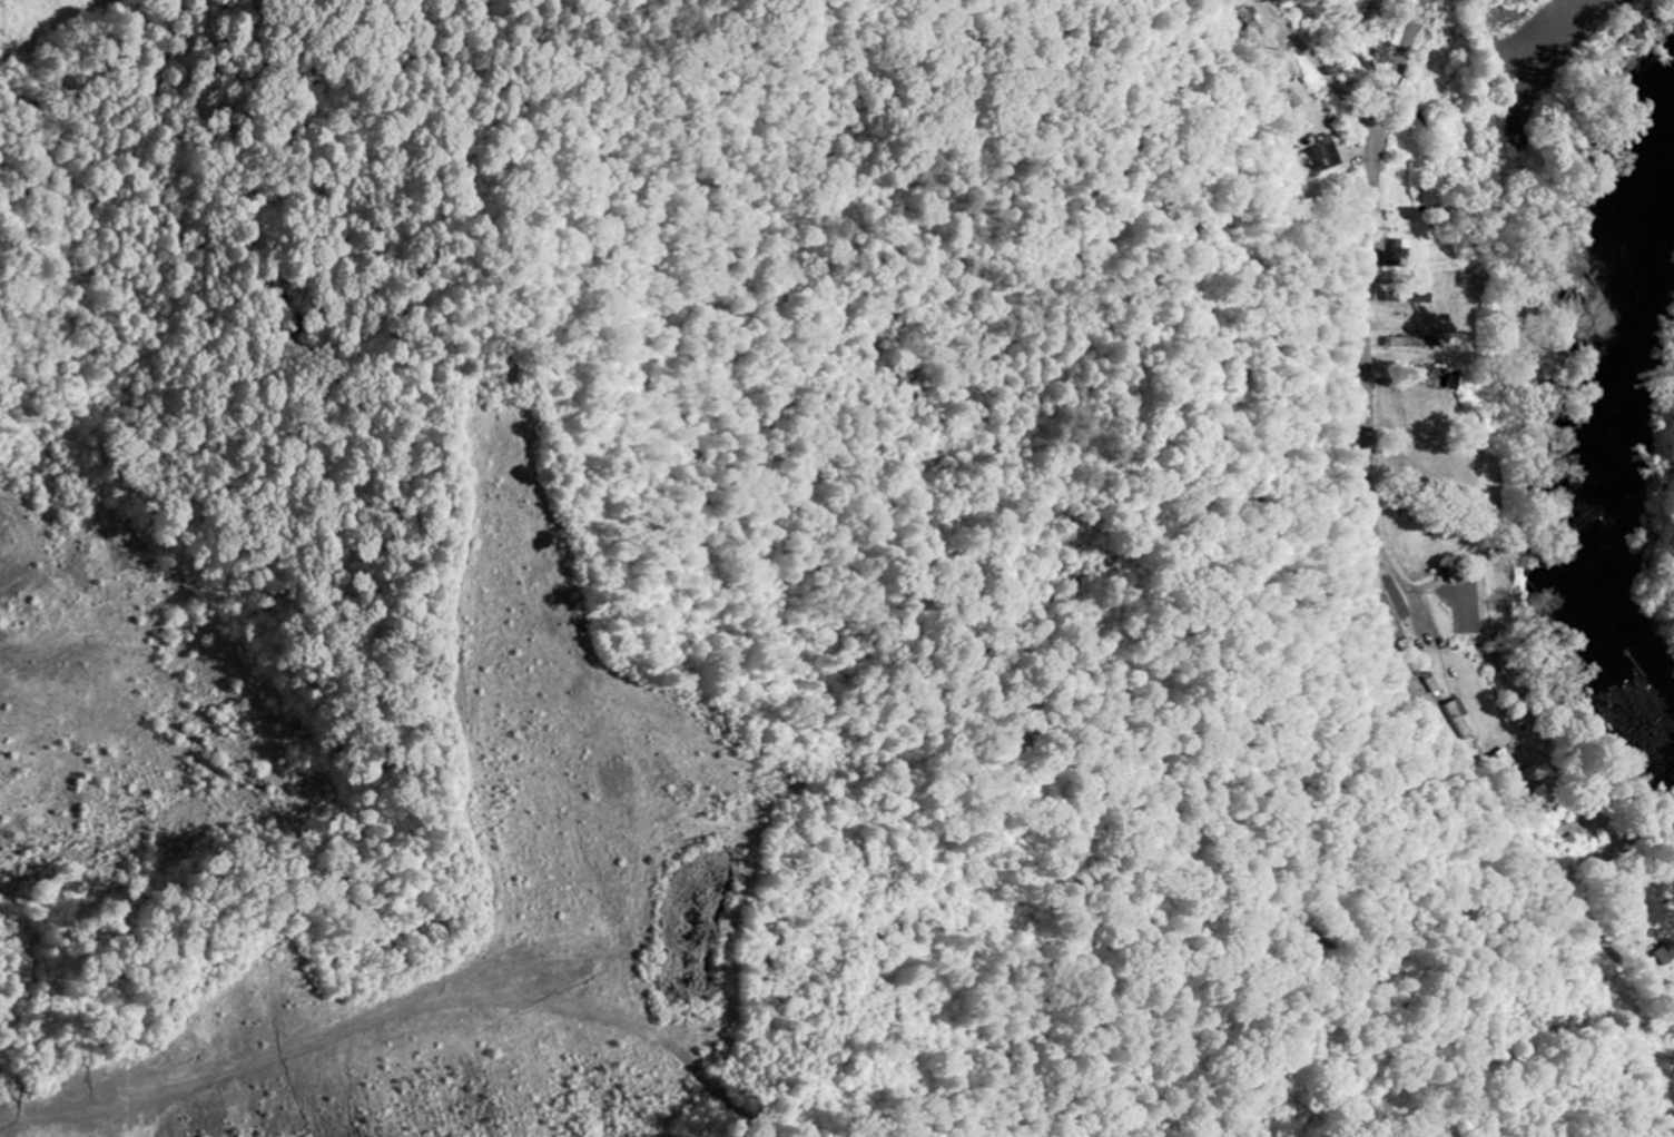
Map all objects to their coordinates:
building: (1255, 21)
road: (1323, 62)
building: (1329, 155)
building: (1401, 254)
building: (1412, 342)
river: (1606, 455)
road: (1369, 550)
building: (1466, 719)

